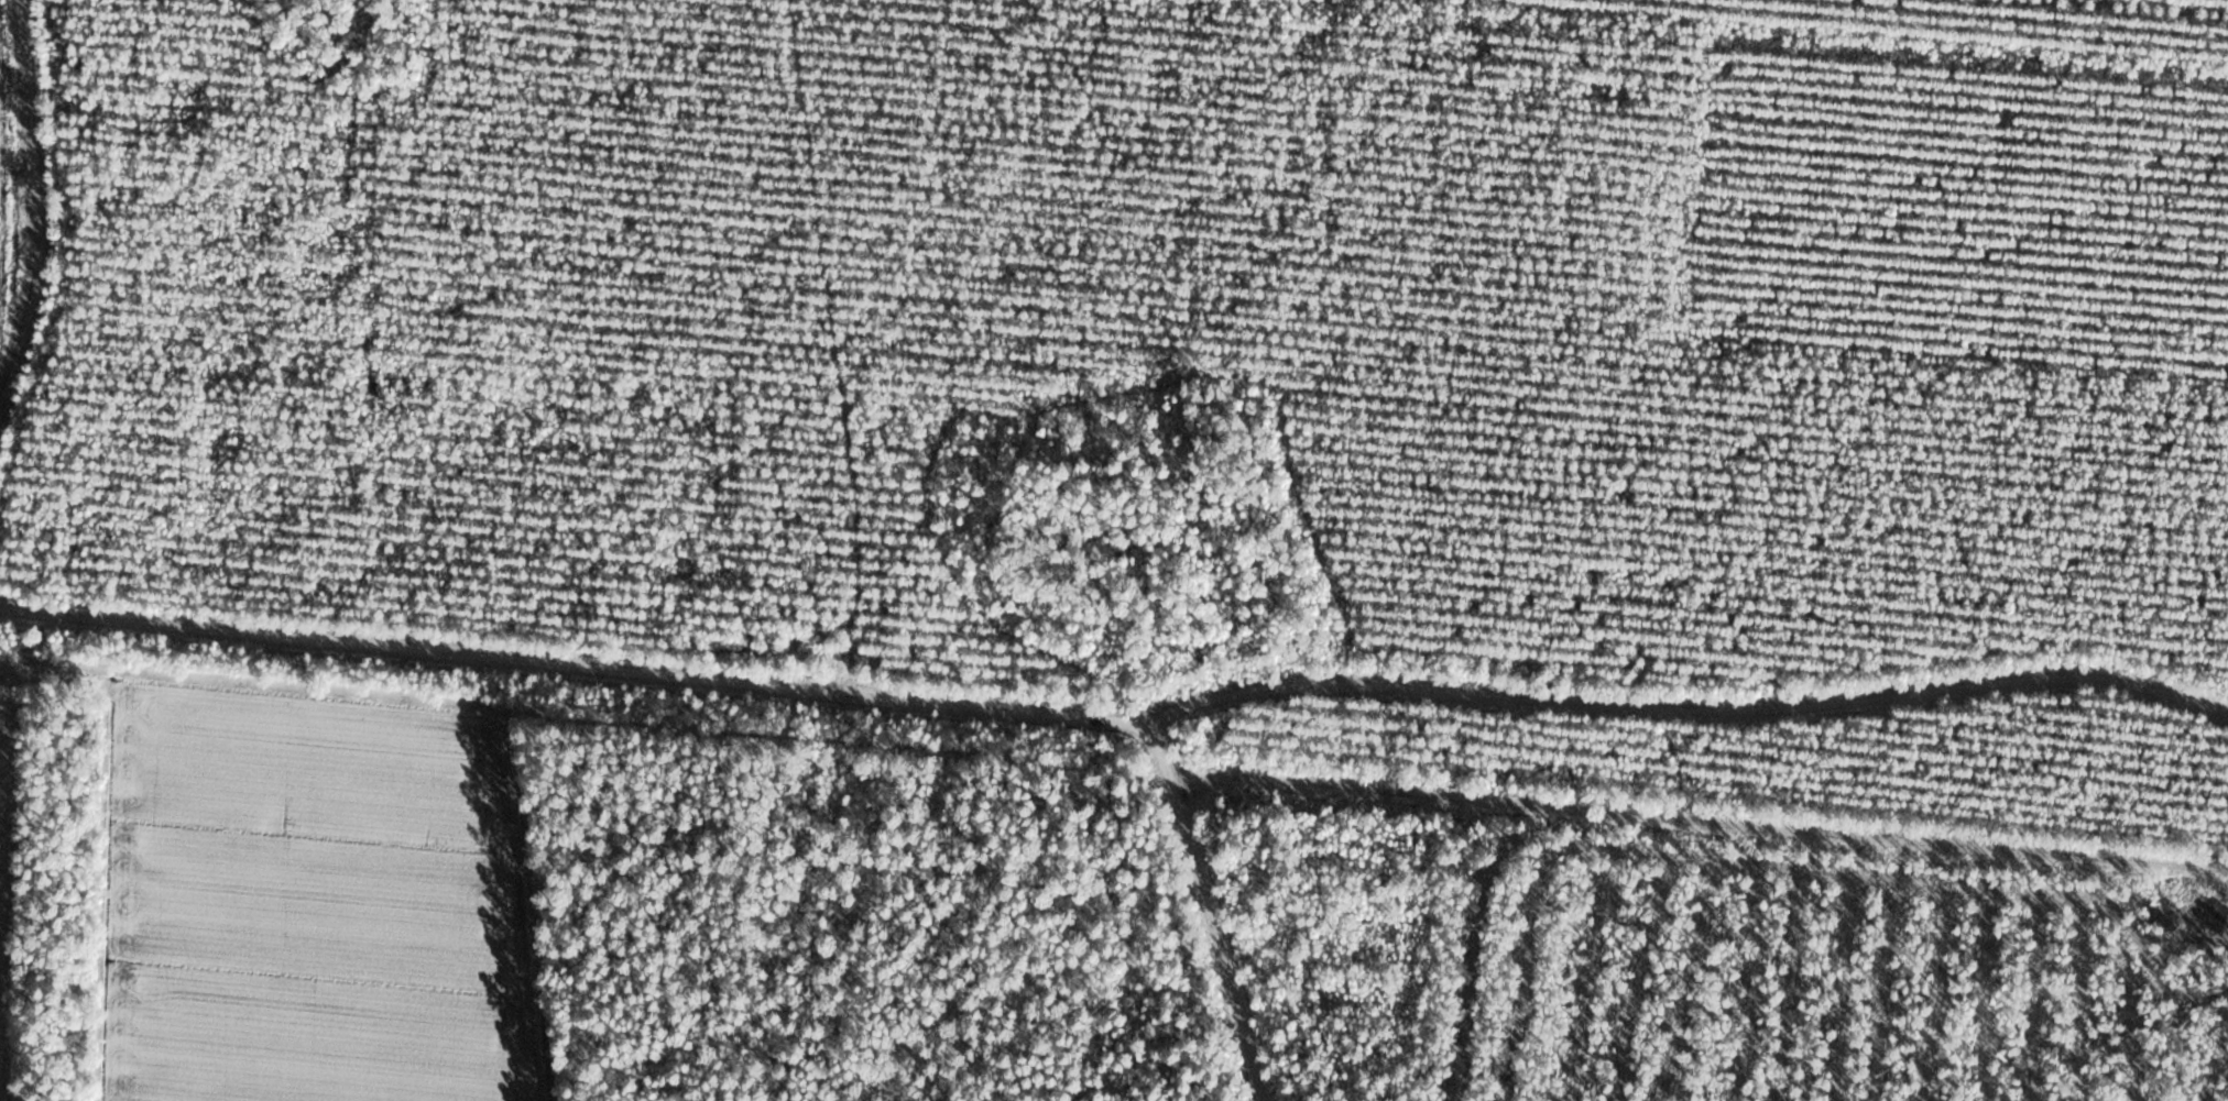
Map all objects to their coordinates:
road: (7, 176)
road: (1113, 744)
road: (1175, 923)

